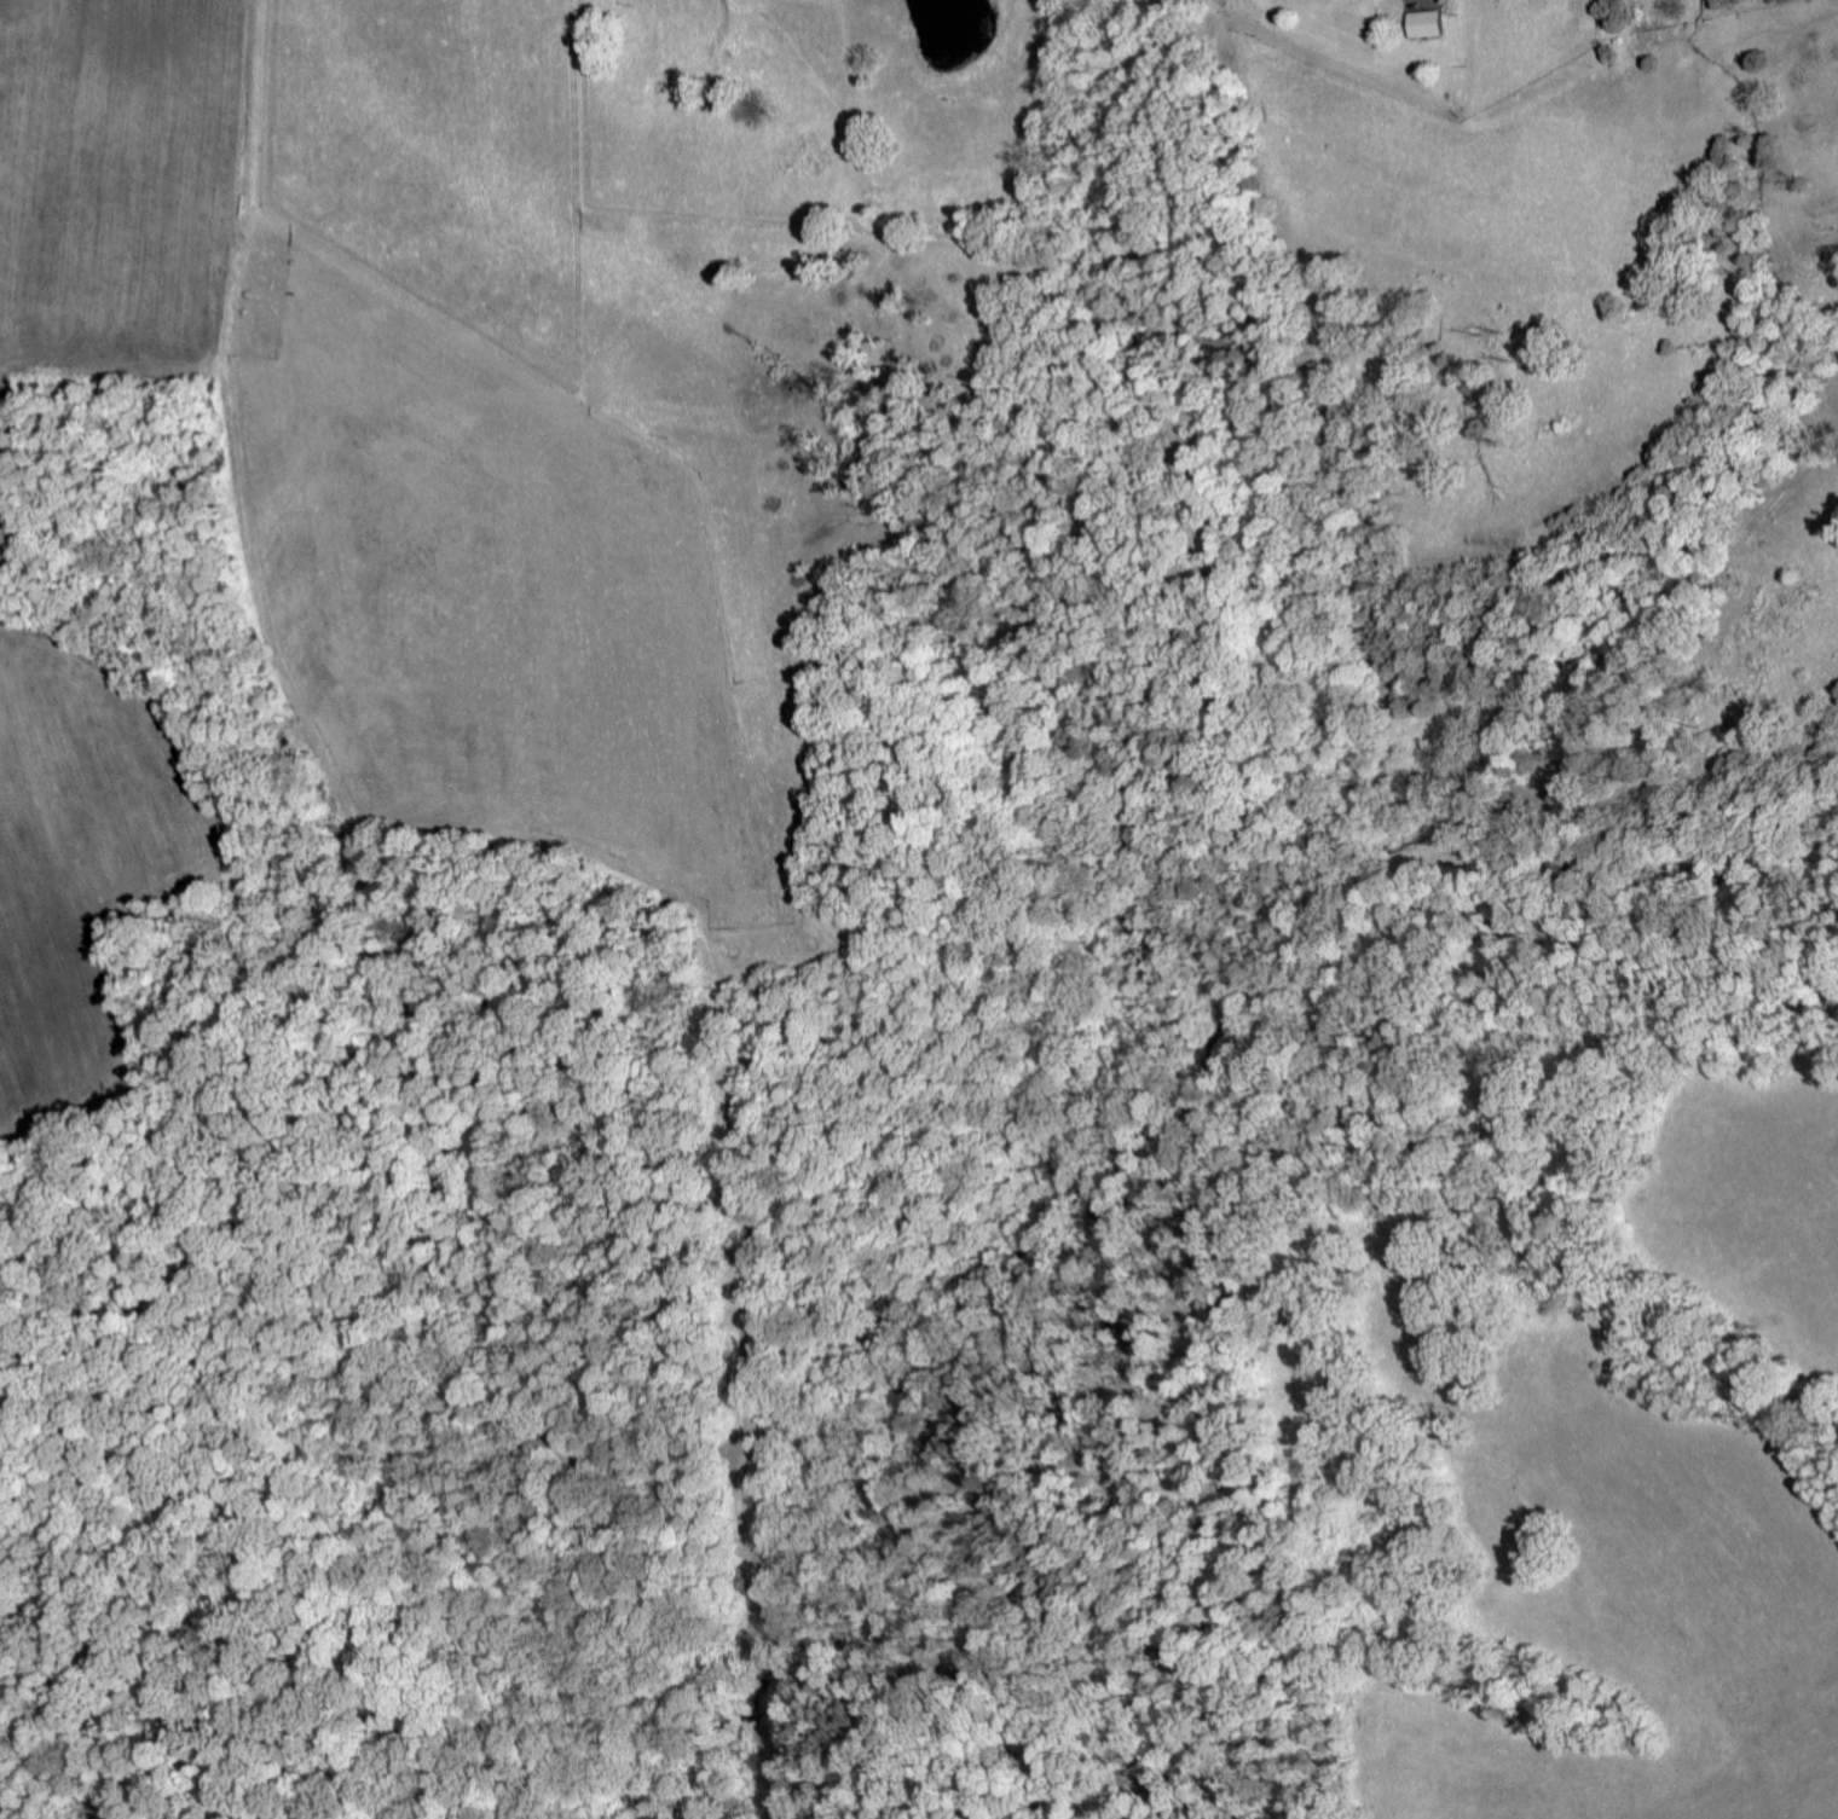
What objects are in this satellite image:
road: (973, 6)
building: (1421, 23)

